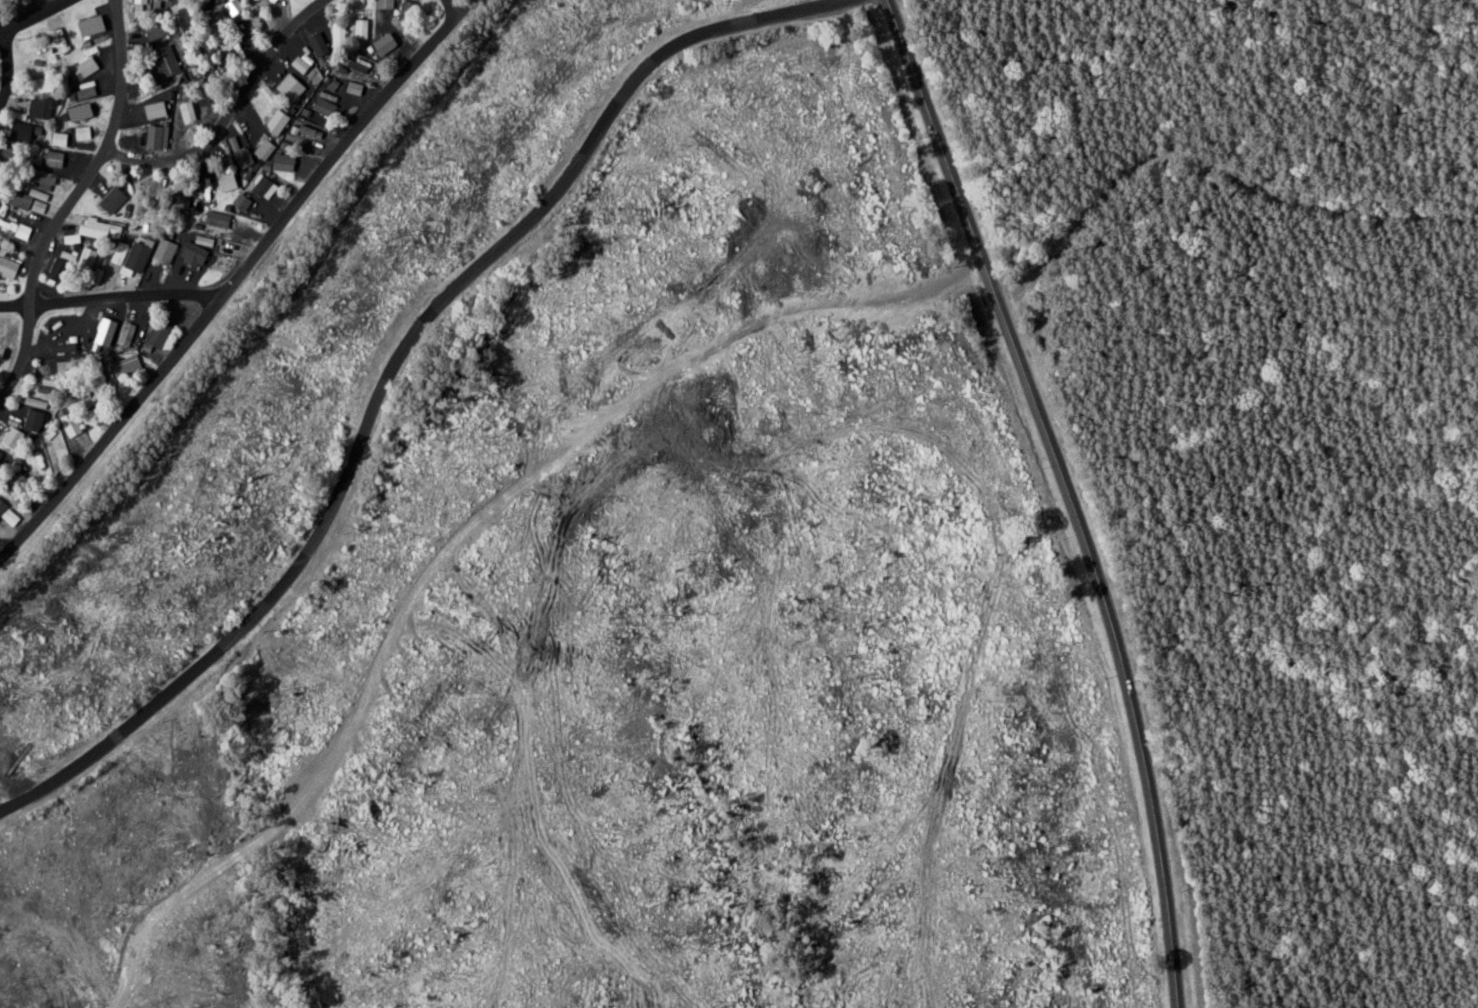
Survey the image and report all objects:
building: (269, 0)
building: (154, 3)
building: (382, 4)
road: (460, 5)
building: (136, 6)
road: (32, 15)
building: (94, 26)
building: (357, 28)
building: (313, 42)
building: (378, 45)
building: (161, 61)
building: (359, 62)
building: (295, 64)
road: (6, 65)
building: (353, 67)
building: (87, 68)
building: (311, 75)
building: (286, 88)
building: (349, 88)
road: (234, 103)
building: (319, 106)
building: (41, 108)
building: (149, 110)
building: (83, 112)
building: (303, 113)
building: (275, 125)
building: (28, 132)
building: (82, 132)
building: (306, 132)
building: (151, 137)
building: (60, 139)
building: (261, 149)
building: (240, 158)
building: (53, 159)
building: (278, 162)
building: (45, 182)
building: (222, 182)
building: (261, 187)
building: (108, 199)
building: (20, 200)
building: (175, 202)
building: (238, 202)
road: (76, 203)
building: (3, 209)
building: (213, 219)
building: (15, 228)
building: (92, 229)
building: (18, 242)
building: (160, 251)
building: (190, 254)
building: (119, 263)
building: (8, 266)
road: (241, 284)
road: (114, 296)
building: (120, 331)
building: (155, 332)
building: (128, 364)
road: (392, 365)
building: (35, 403)
building: (32, 420)
building: (72, 424)
building: (12, 438)
building: (3, 460)
road: (1067, 494)
building: (9, 513)

